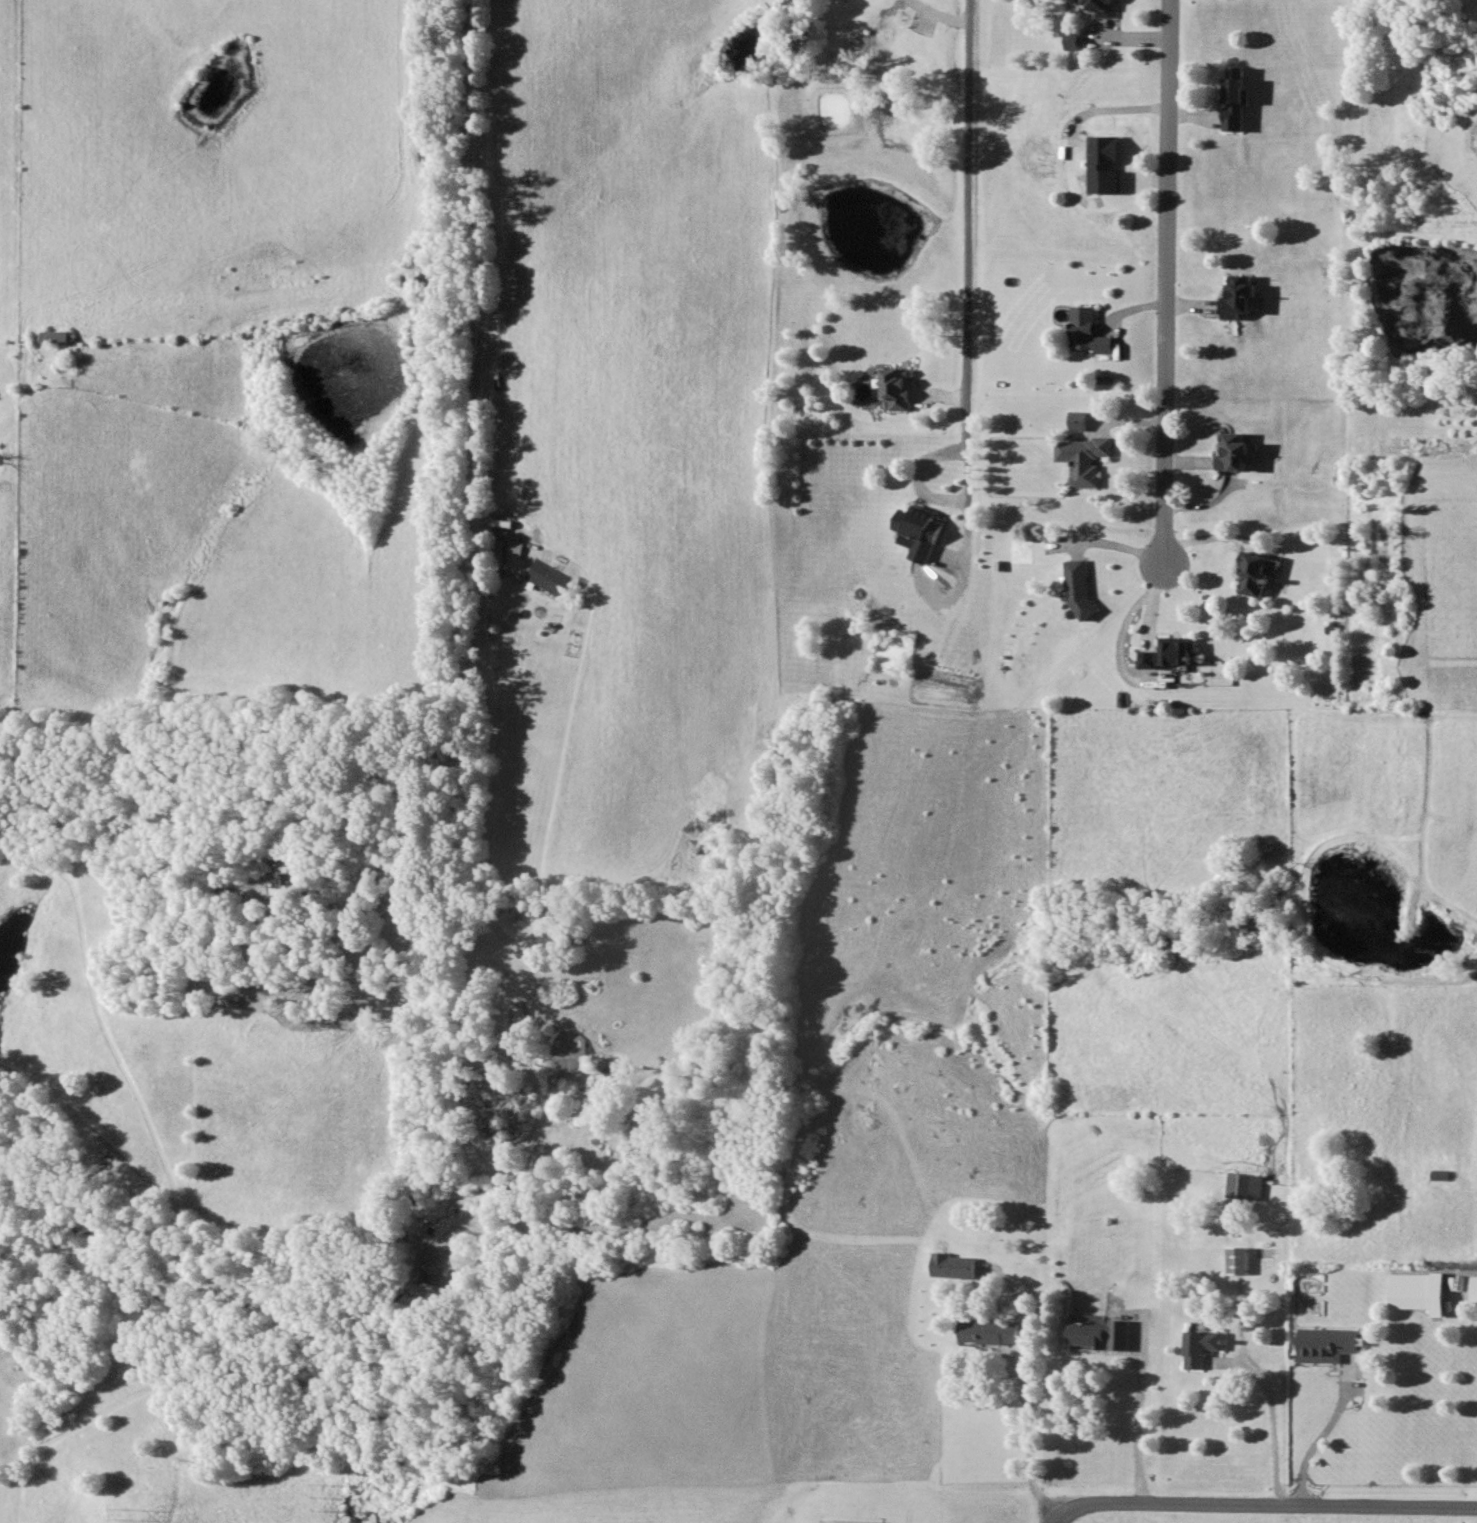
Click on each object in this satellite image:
building: (1100, 7)
road: (938, 15)
building: (1074, 40)
building: (1232, 99)
building: (1104, 164)
road: (1173, 287)
building: (1237, 295)
road: (968, 298)
building: (1089, 330)
building: (897, 387)
building: (1079, 420)
building: (1233, 451)
building: (1084, 459)
road: (917, 474)
road: (474, 497)
building: (918, 531)
building: (1254, 573)
building: (547, 577)
building: (1077, 585)
building: (1168, 652)
road: (406, 913)
building: (569, 1048)
road: (526, 1055)
building: (1245, 1186)
building: (1239, 1260)
building: (953, 1265)
building: (1474, 1290)
building: (1417, 1291)
building: (990, 1332)
building: (1100, 1335)
building: (1326, 1344)
building: (1202, 1346)
road: (1027, 1398)
road: (1138, 1420)
road: (1275, 1430)
road: (1318, 1442)
power tower: (324, 1493)
road: (1261, 1503)
power tower: (125, 1513)
power tower: (832, 1522)

